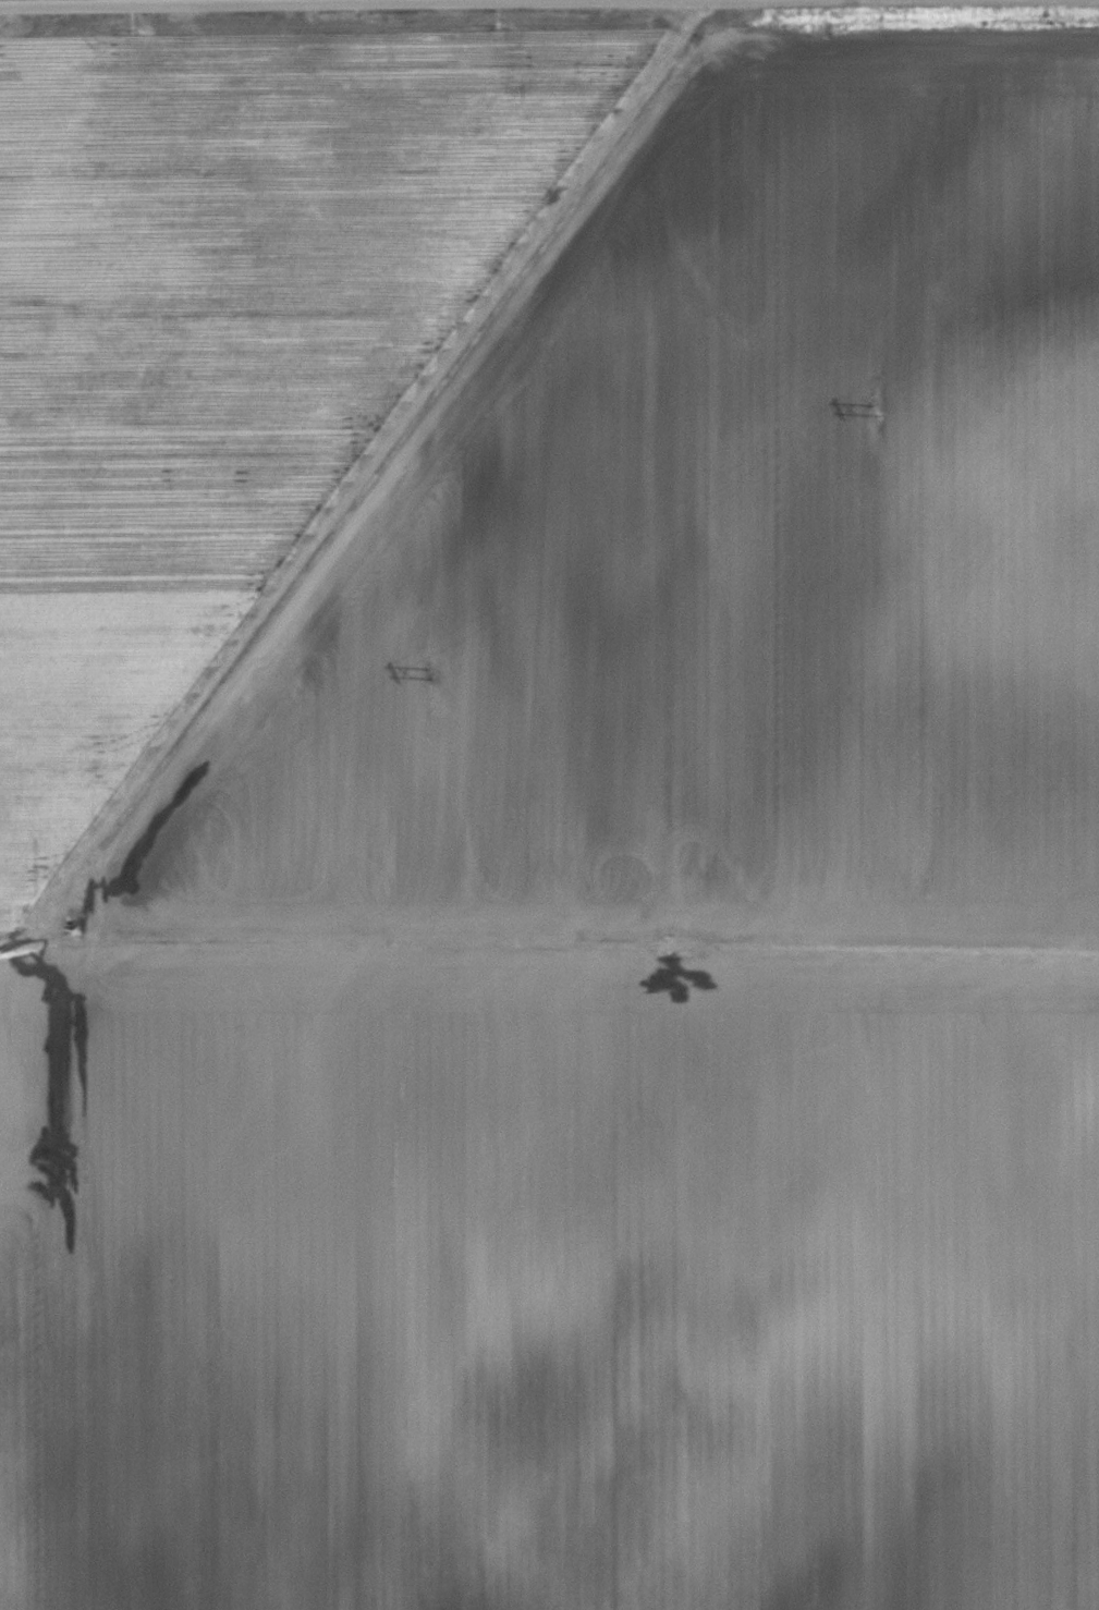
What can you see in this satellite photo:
road: (225, 3)
power tower: (875, 411)
power tower: (431, 674)

